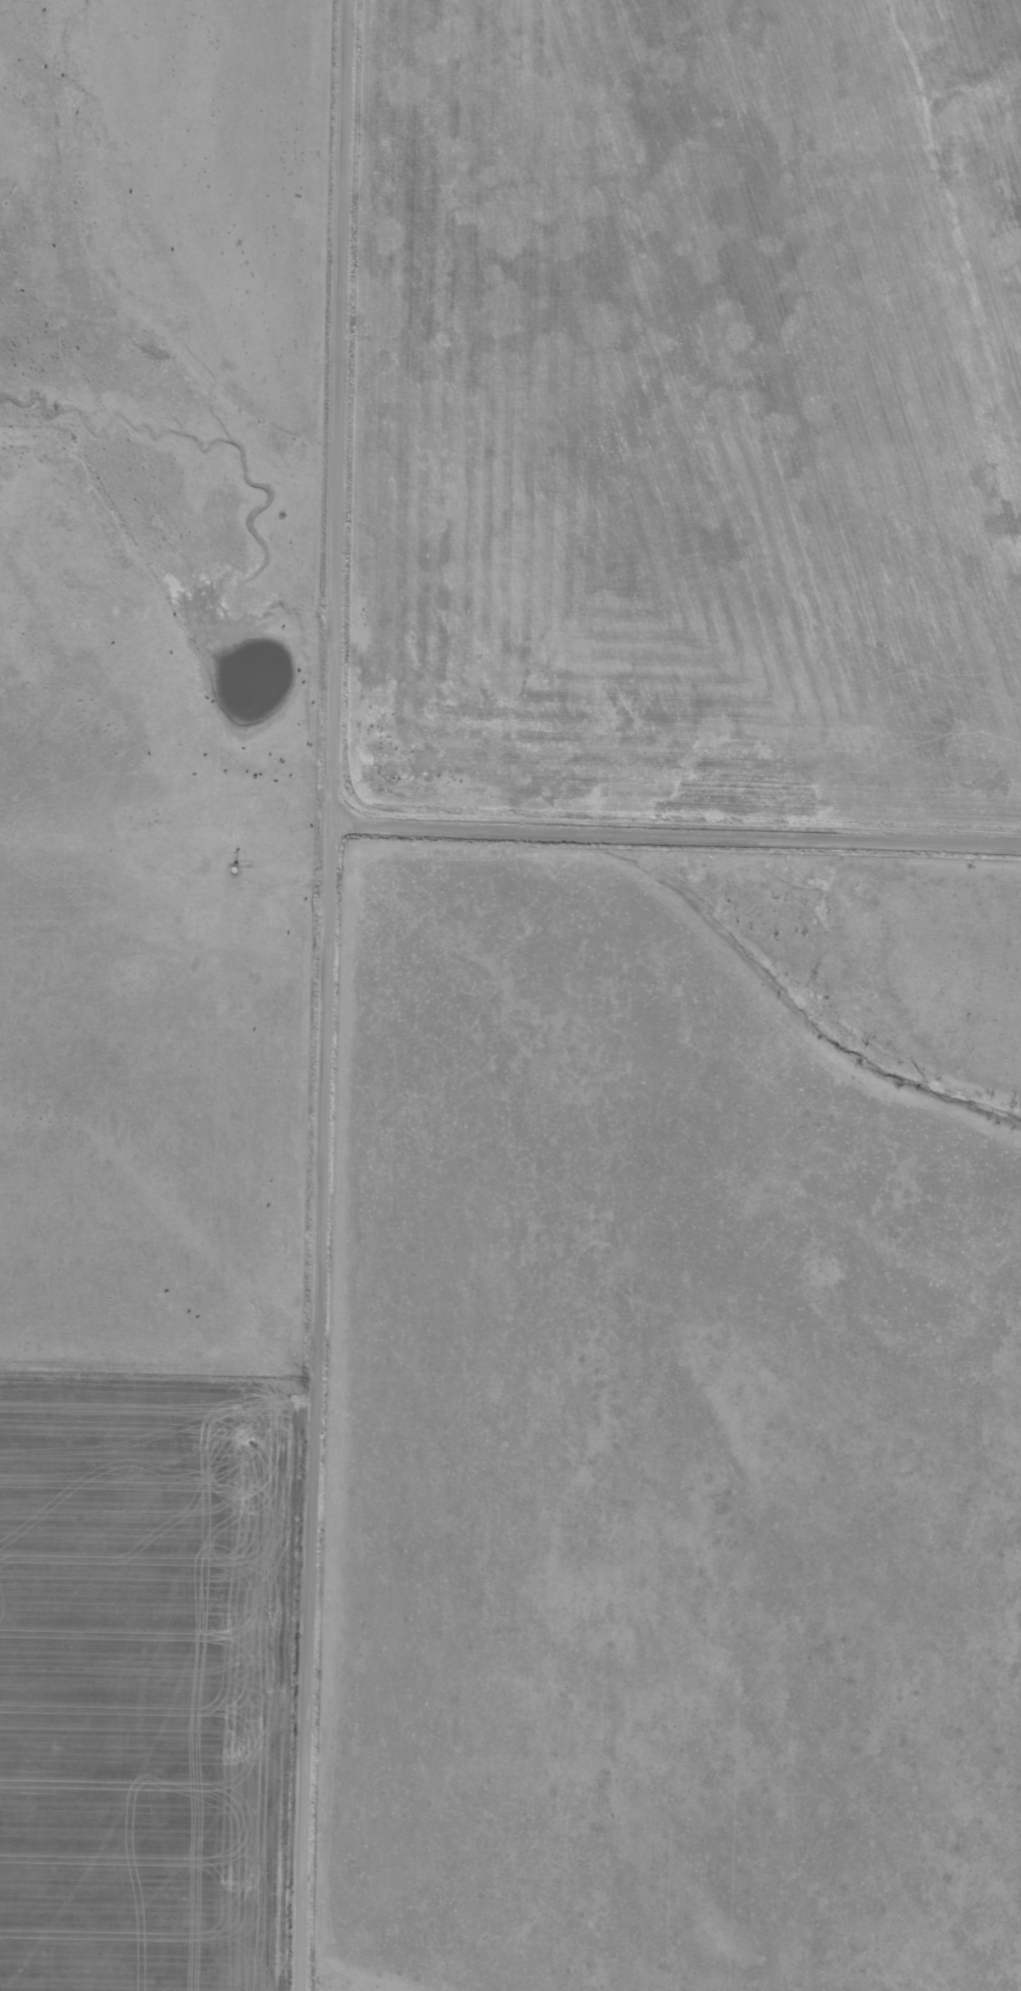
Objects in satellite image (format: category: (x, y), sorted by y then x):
road: (677, 831)
road: (329, 995)

